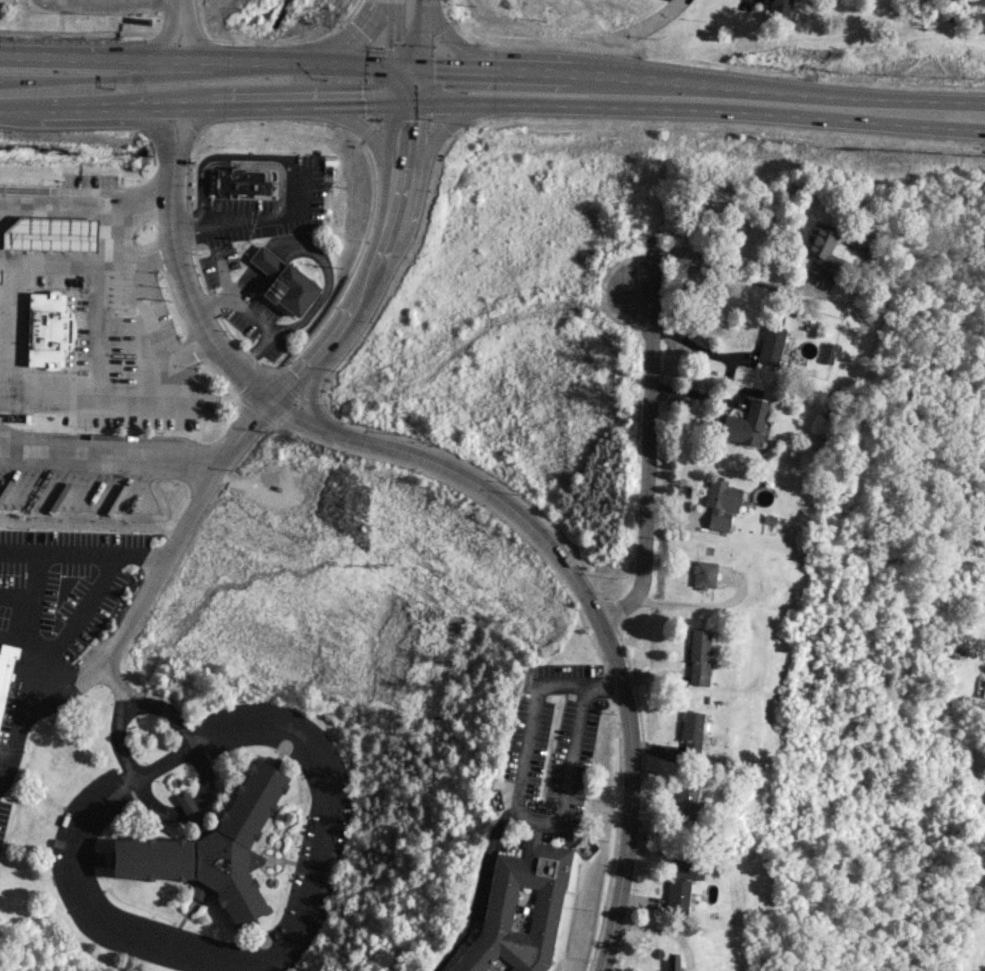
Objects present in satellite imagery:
road: (143, 2)
road: (115, 4)
building: (780, 8)
road: (179, 9)
road: (661, 16)
road: (419, 31)
road: (391, 32)
road: (357, 35)
road: (444, 41)
road: (161, 43)
road: (200, 46)
road: (78, 60)
road: (194, 62)
road: (311, 62)
road: (405, 63)
road: (452, 64)
road: (549, 69)
road: (663, 78)
road: (2, 79)
road: (82, 79)
road: (418, 79)
road: (391, 80)
road: (848, 94)
road: (404, 96)
road: (357, 97)
road: (447, 97)
road: (269, 100)
road: (171, 103)
road: (74, 106)
road: (10, 108)
road: (731, 114)
road: (361, 122)
road: (437, 124)
road: (388, 128)
road: (414, 130)
road: (172, 152)
road: (290, 169)
road: (390, 176)
road: (402, 179)
building: (243, 182)
road: (85, 198)
building: (71, 233)
building: (822, 249)
road: (720, 262)
road: (113, 280)
building: (284, 282)
road: (354, 308)
building: (47, 329)
building: (770, 345)
road: (695, 347)
building: (828, 353)
road: (0, 383)
road: (310, 394)
building: (744, 423)
road: (330, 429)
road: (110, 455)
road: (646, 464)
building: (719, 502)
road: (175, 538)
road: (82, 553)
building: (703, 574)
road: (13, 593)
road: (22, 608)
road: (14, 635)
building: (699, 657)
road: (47, 659)
building: (5, 667)
building: (691, 730)
road: (182, 734)
road: (120, 740)
road: (163, 760)
road: (513, 797)
road: (628, 797)
building: (684, 804)
building: (212, 849)
building: (681, 881)
road: (475, 890)
building: (518, 910)
building: (671, 961)

